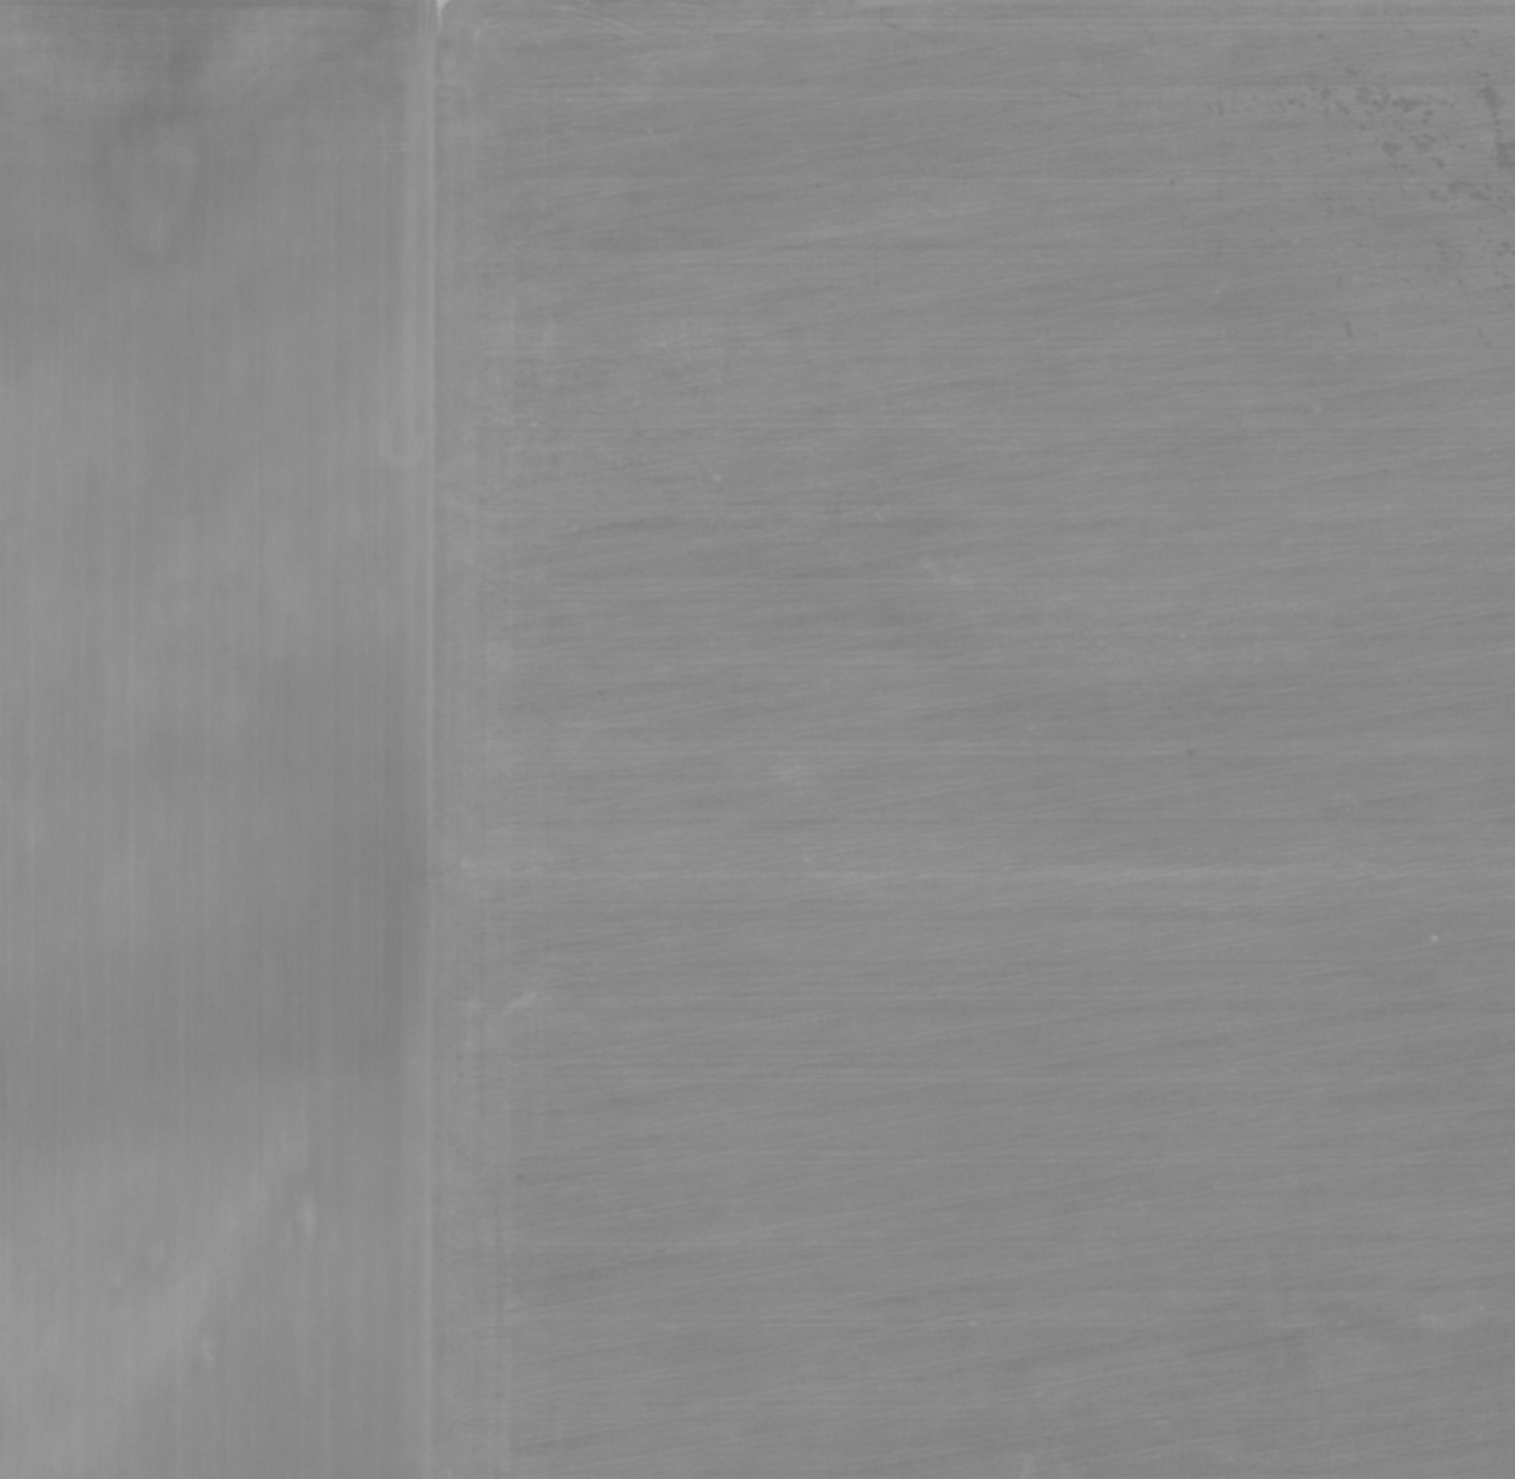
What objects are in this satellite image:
crop: (765, 748)

